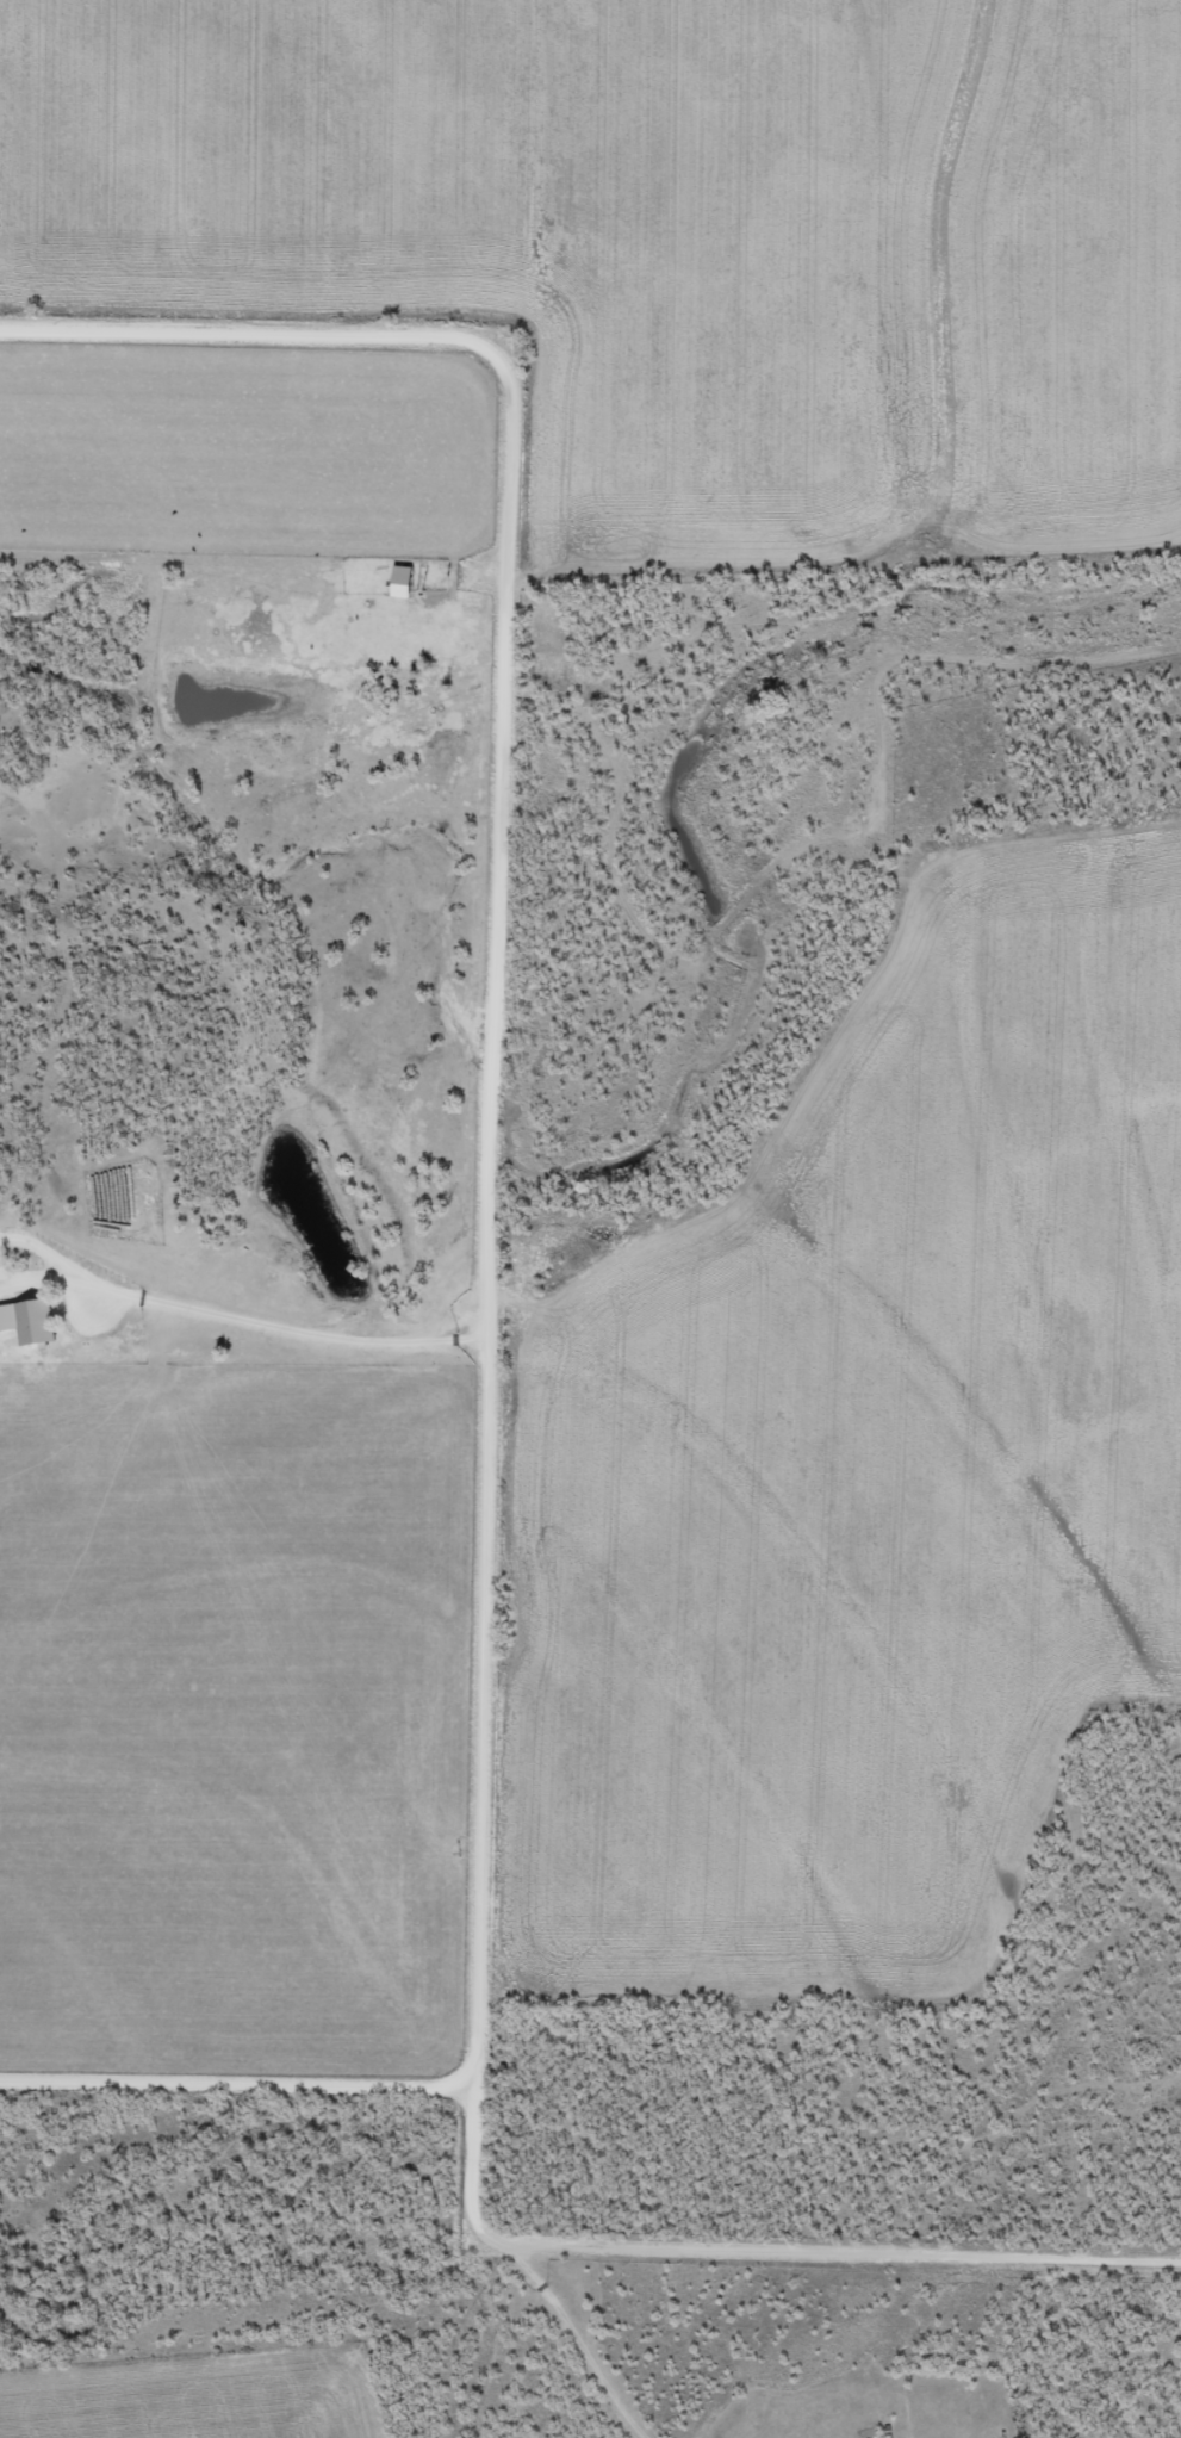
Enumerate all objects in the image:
building: (36, 1320)
road: (250, 1327)
road: (472, 1407)
road: (230, 2080)
road: (570, 2344)

